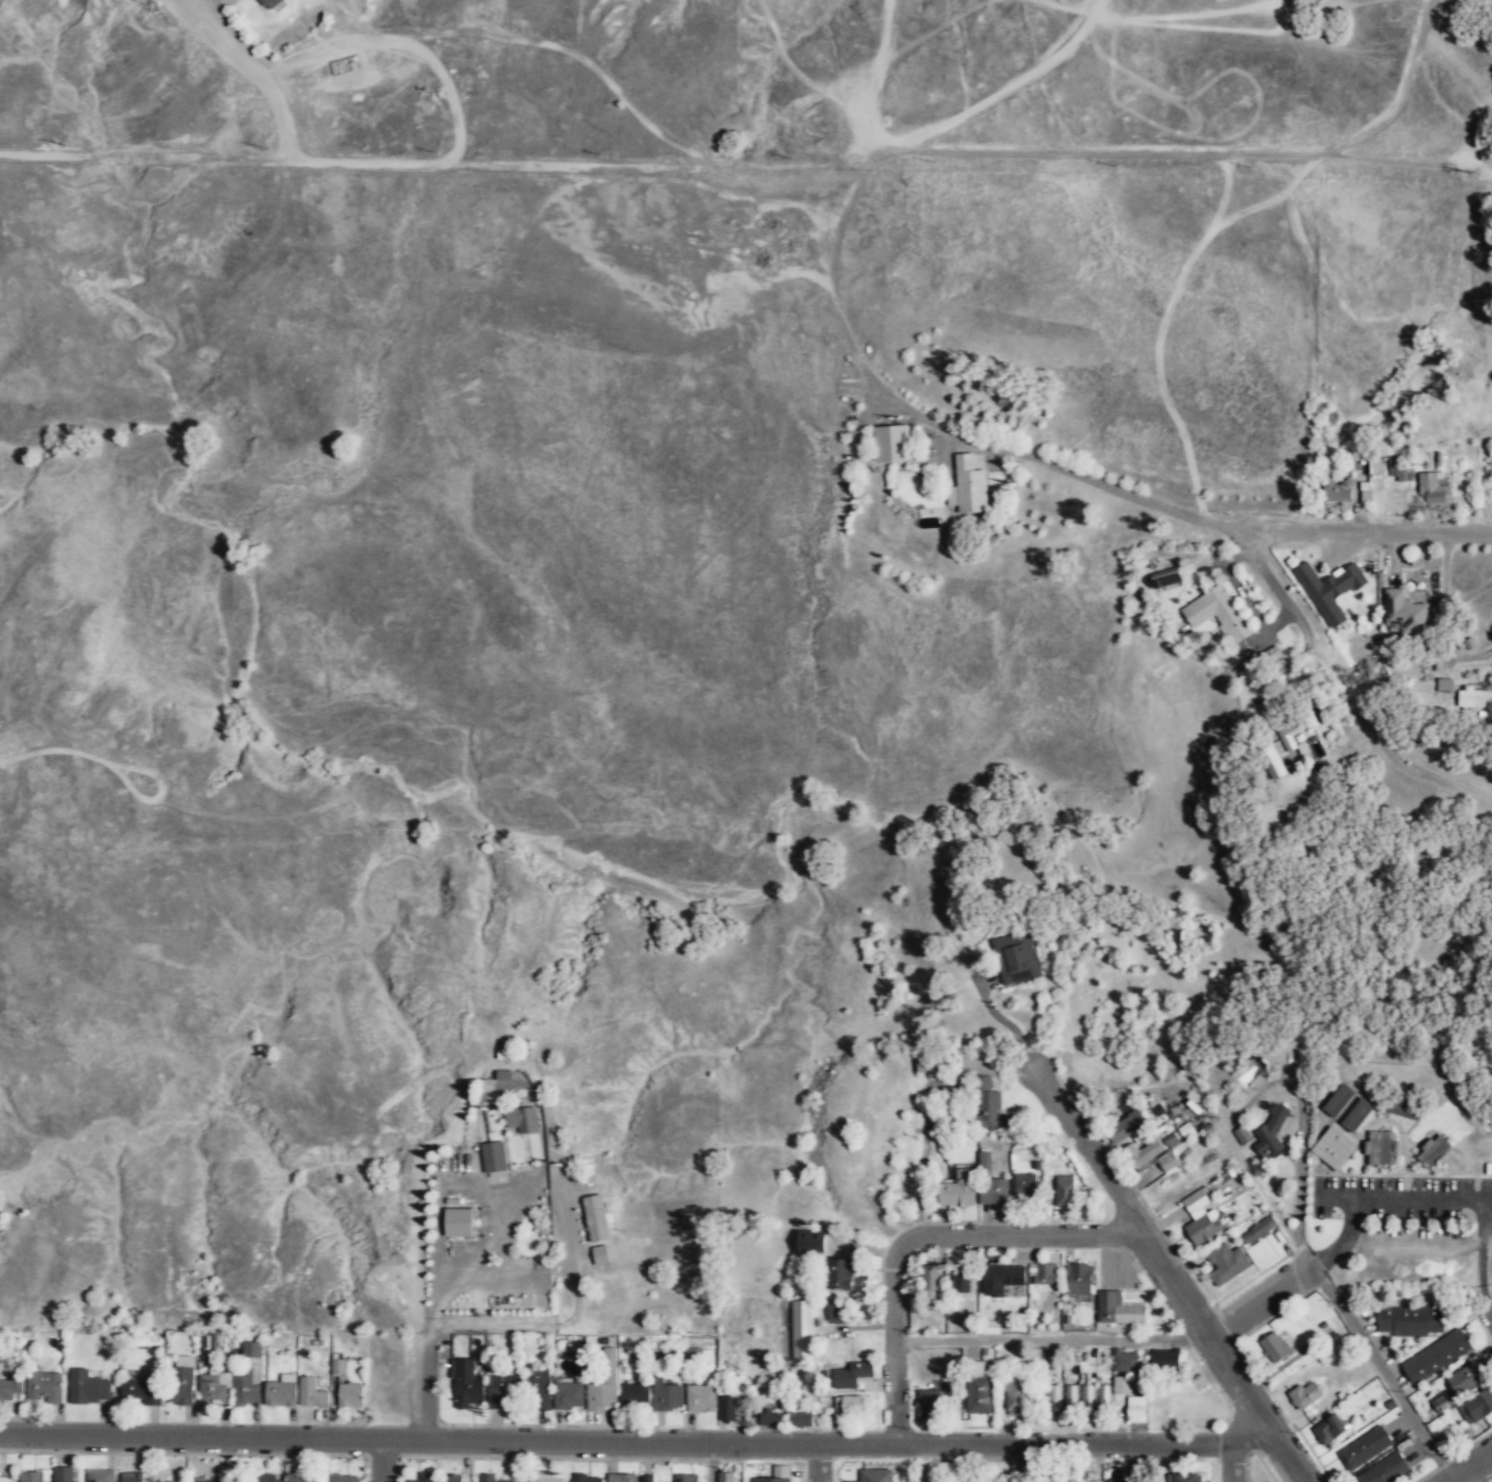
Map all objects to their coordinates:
building: (268, 4)
building: (891, 443)
building: (1400, 470)
building: (968, 487)
building: (1433, 487)
building: (1339, 493)
road: (1367, 536)
building: (1167, 578)
building: (1331, 590)
building: (1406, 612)
building: (1218, 613)
road: (1301, 624)
building: (1445, 685)
building: (1475, 698)
building: (1290, 736)
building: (1272, 763)
building: (1017, 958)
building: (929, 1065)
road: (1254, 1098)
building: (1339, 1100)
building: (988, 1104)
building: (1406, 1110)
building: (1358, 1116)
building: (523, 1120)
building: (1126, 1126)
building: (1271, 1133)
building: (1243, 1136)
building: (1382, 1148)
building: (1334, 1149)
building: (1435, 1151)
building: (1155, 1154)
building: (494, 1157)
building: (985, 1161)
building: (1024, 1185)
building: (960, 1190)
building: (1065, 1191)
building: (995, 1192)
road: (1338, 1199)
road: (1369, 1199)
building: (1202, 1217)
building: (597, 1219)
building: (460, 1223)
building: (1257, 1232)
road: (922, 1237)
building: (812, 1244)
building: (601, 1255)
building: (1227, 1264)
building: (1047, 1275)
road: (1170, 1275)
building: (842, 1276)
building: (1080, 1280)
building: (930, 1281)
building: (1001, 1281)
building: (962, 1282)
road: (1259, 1304)
building: (1119, 1310)
road: (1491, 1311)
building: (835, 1314)
building: (1410, 1321)
building: (803, 1330)
road: (1051, 1342)
building: (207, 1348)
road: (426, 1348)
building: (1275, 1348)
building: (251, 1350)
building: (695, 1353)
building: (609, 1354)
building: (1438, 1356)
building: (1166, 1360)
building: (1125, 1362)
building: (338, 1367)
building: (852, 1375)
road: (1382, 1375)
building: (1466, 1378)
building: (467, 1384)
building: (869, 1385)
building: (1123, 1386)
building: (44, 1387)
building: (183, 1388)
building: (540, 1388)
building: (11, 1389)
building: (87, 1389)
building: (213, 1389)
building: (245, 1390)
building: (604, 1390)
building: (500, 1391)
building: (142, 1392)
building: (312, 1395)
building: (351, 1395)
building: (569, 1395)
building: (980, 1395)
building: (1306, 1395)
building: (281, 1396)
building: (635, 1397)
building: (667, 1397)
building: (1016, 1397)
building: (1085, 1397)
building: (1053, 1398)
building: (1069, 1398)
building: (701, 1399)
building: (1102, 1399)
building: (1442, 1402)
building: (929, 1404)
building: (850, 1405)
building: (727, 1407)
building: (1476, 1407)
building: (1137, 1409)
building: (770, 1419)
building: (801, 1419)
building: (1331, 1429)
road: (639, 1443)
building: (1365, 1448)
road: (382, 1461)
road: (1235, 1462)
road: (712, 1463)
road: (820, 1463)
road: (922, 1463)
road: (1129, 1463)
road: (1025, 1464)
building: (1385, 1469)
road: (1473, 1469)
building: (776, 1475)
building: (876, 1475)
building: (1117, 1475)
building: (64, 1476)
building: (100, 1477)
building: (726, 1477)
building: (1188, 1477)
building: (31, 1478)
building: (267, 1478)
building: (302, 1478)
building: (341, 1478)
building: (427, 1478)
building: (452, 1478)
building: (547, 1478)
building: (585, 1478)
building: (622, 1478)
building: (646, 1478)
building: (686, 1478)
building: (3, 1479)
building: (132, 1479)
building: (202, 1479)
building: (487, 1479)
building: (1072, 1479)
building: (970, 1481)

